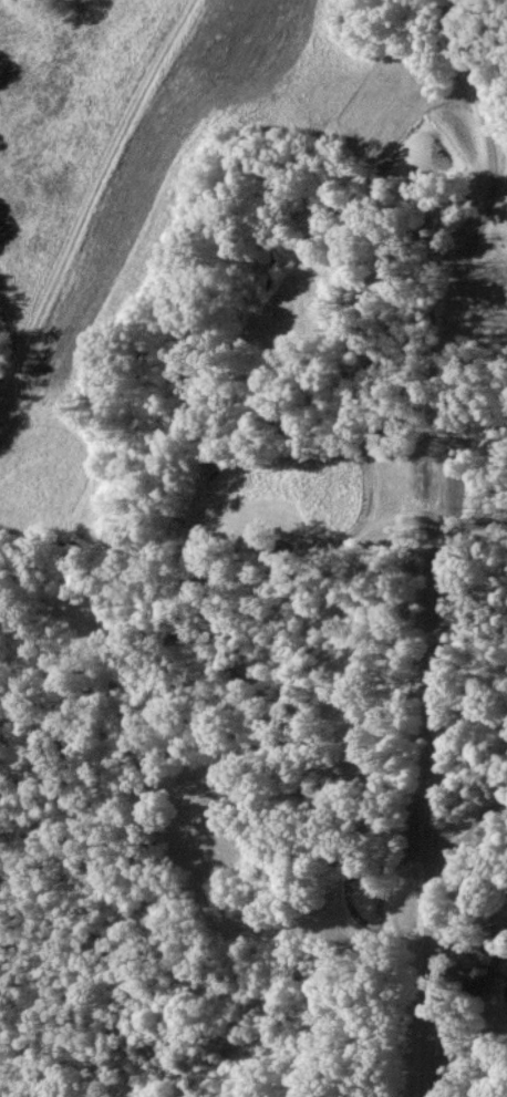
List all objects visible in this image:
road: (480, 339)
road: (451, 542)
road: (472, 832)

